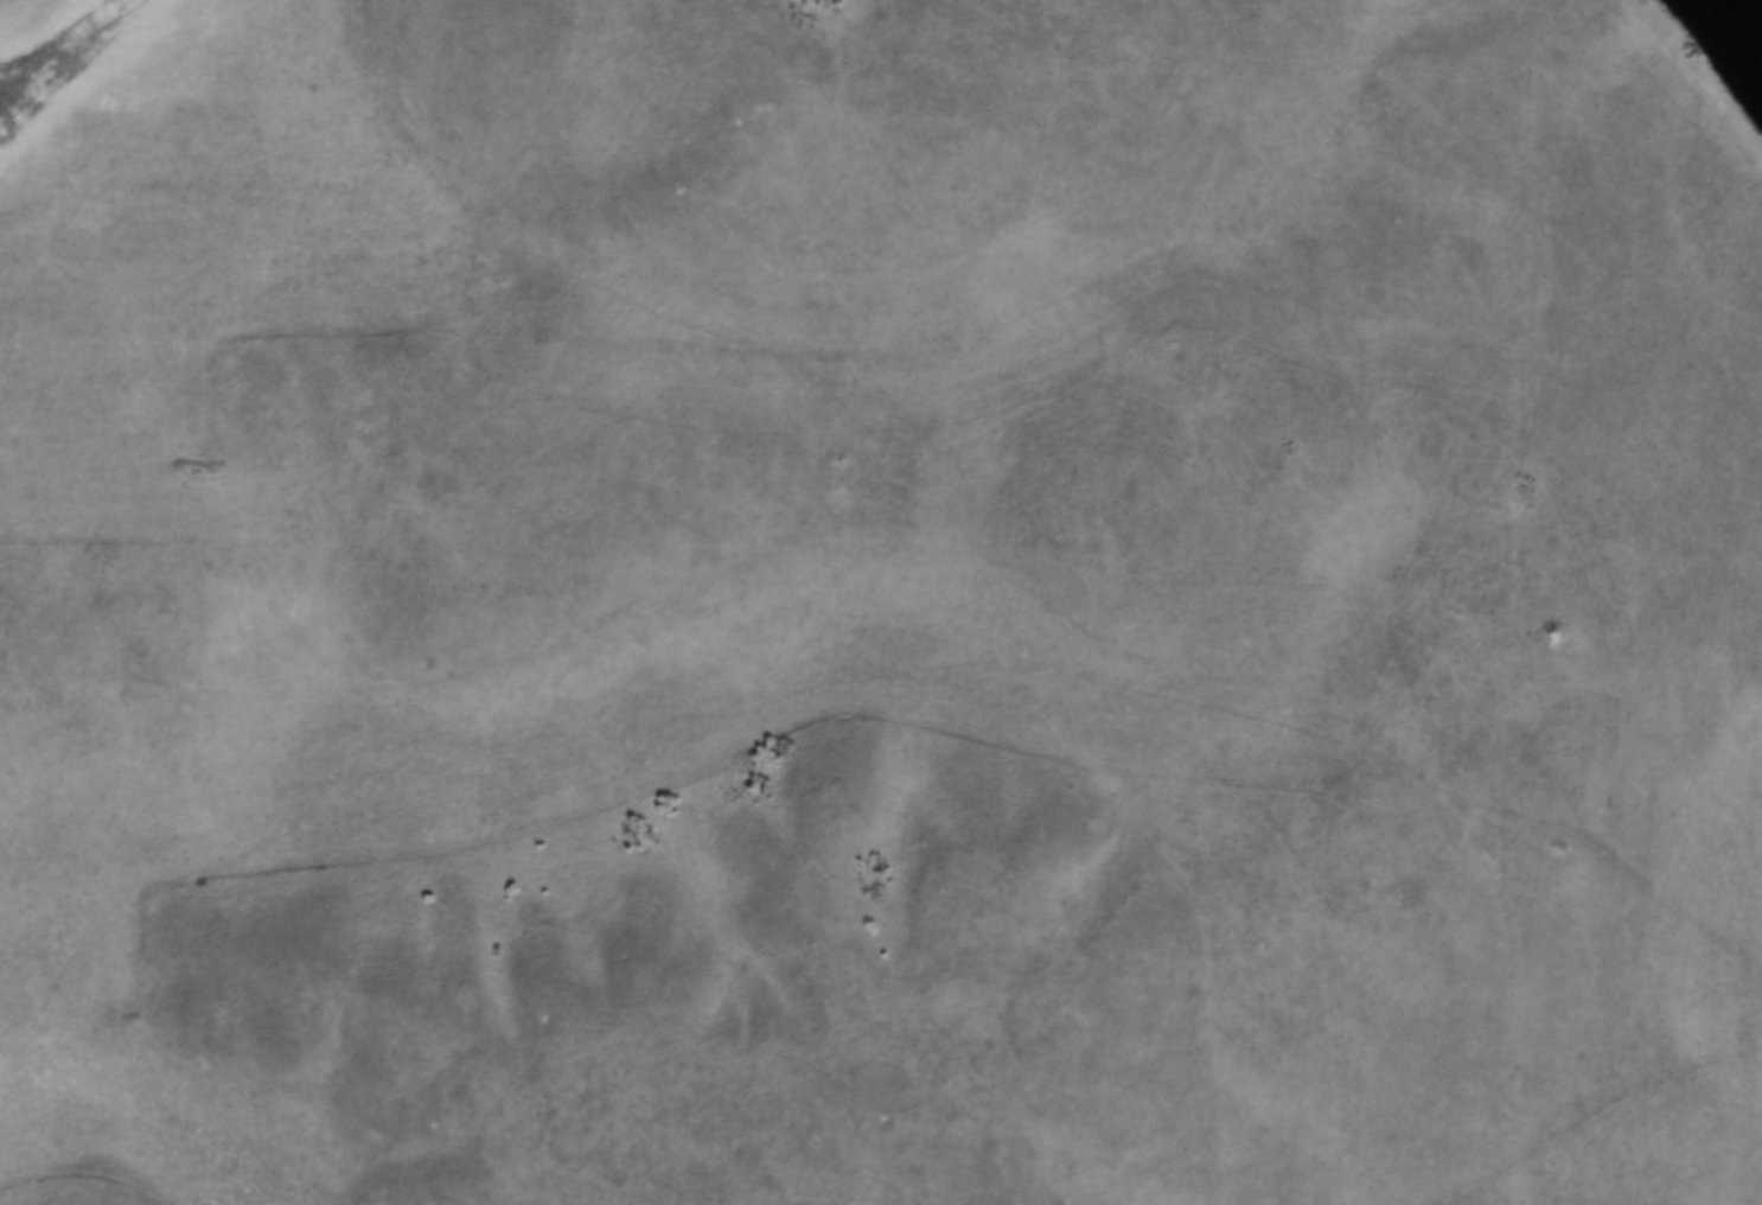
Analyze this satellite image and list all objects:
road: (1647, 25)

